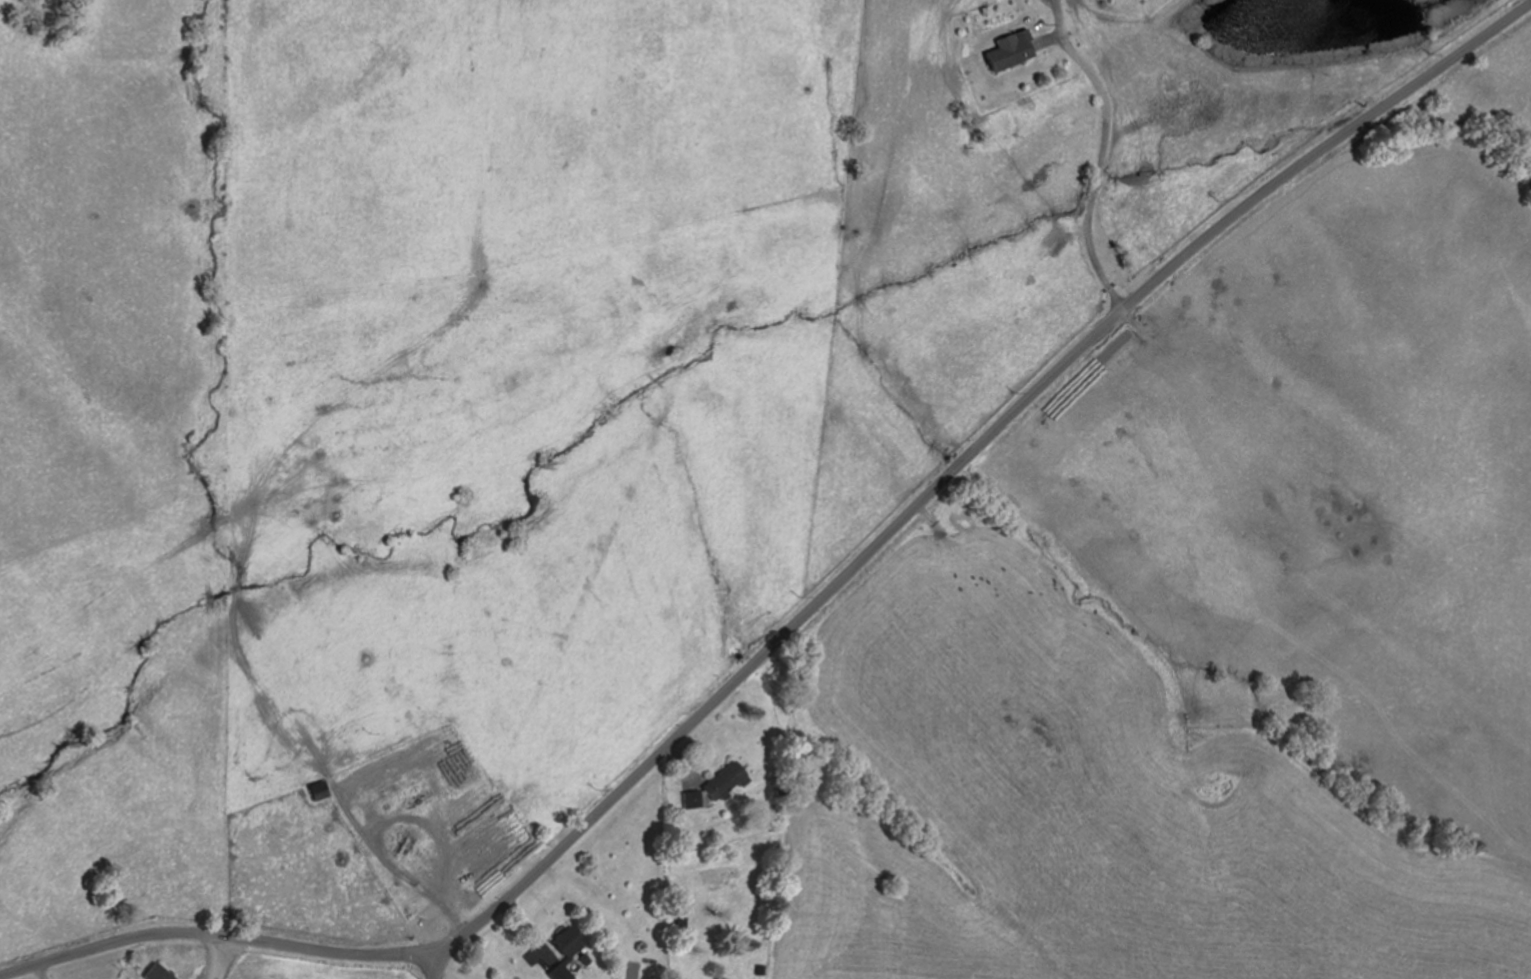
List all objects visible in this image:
building: (1009, 52)
road: (1125, 170)
road: (958, 466)
building: (722, 780)
building: (316, 792)
building: (691, 800)
building: (682, 920)
road: (220, 937)
building: (565, 944)
building: (557, 972)
building: (155, 974)

